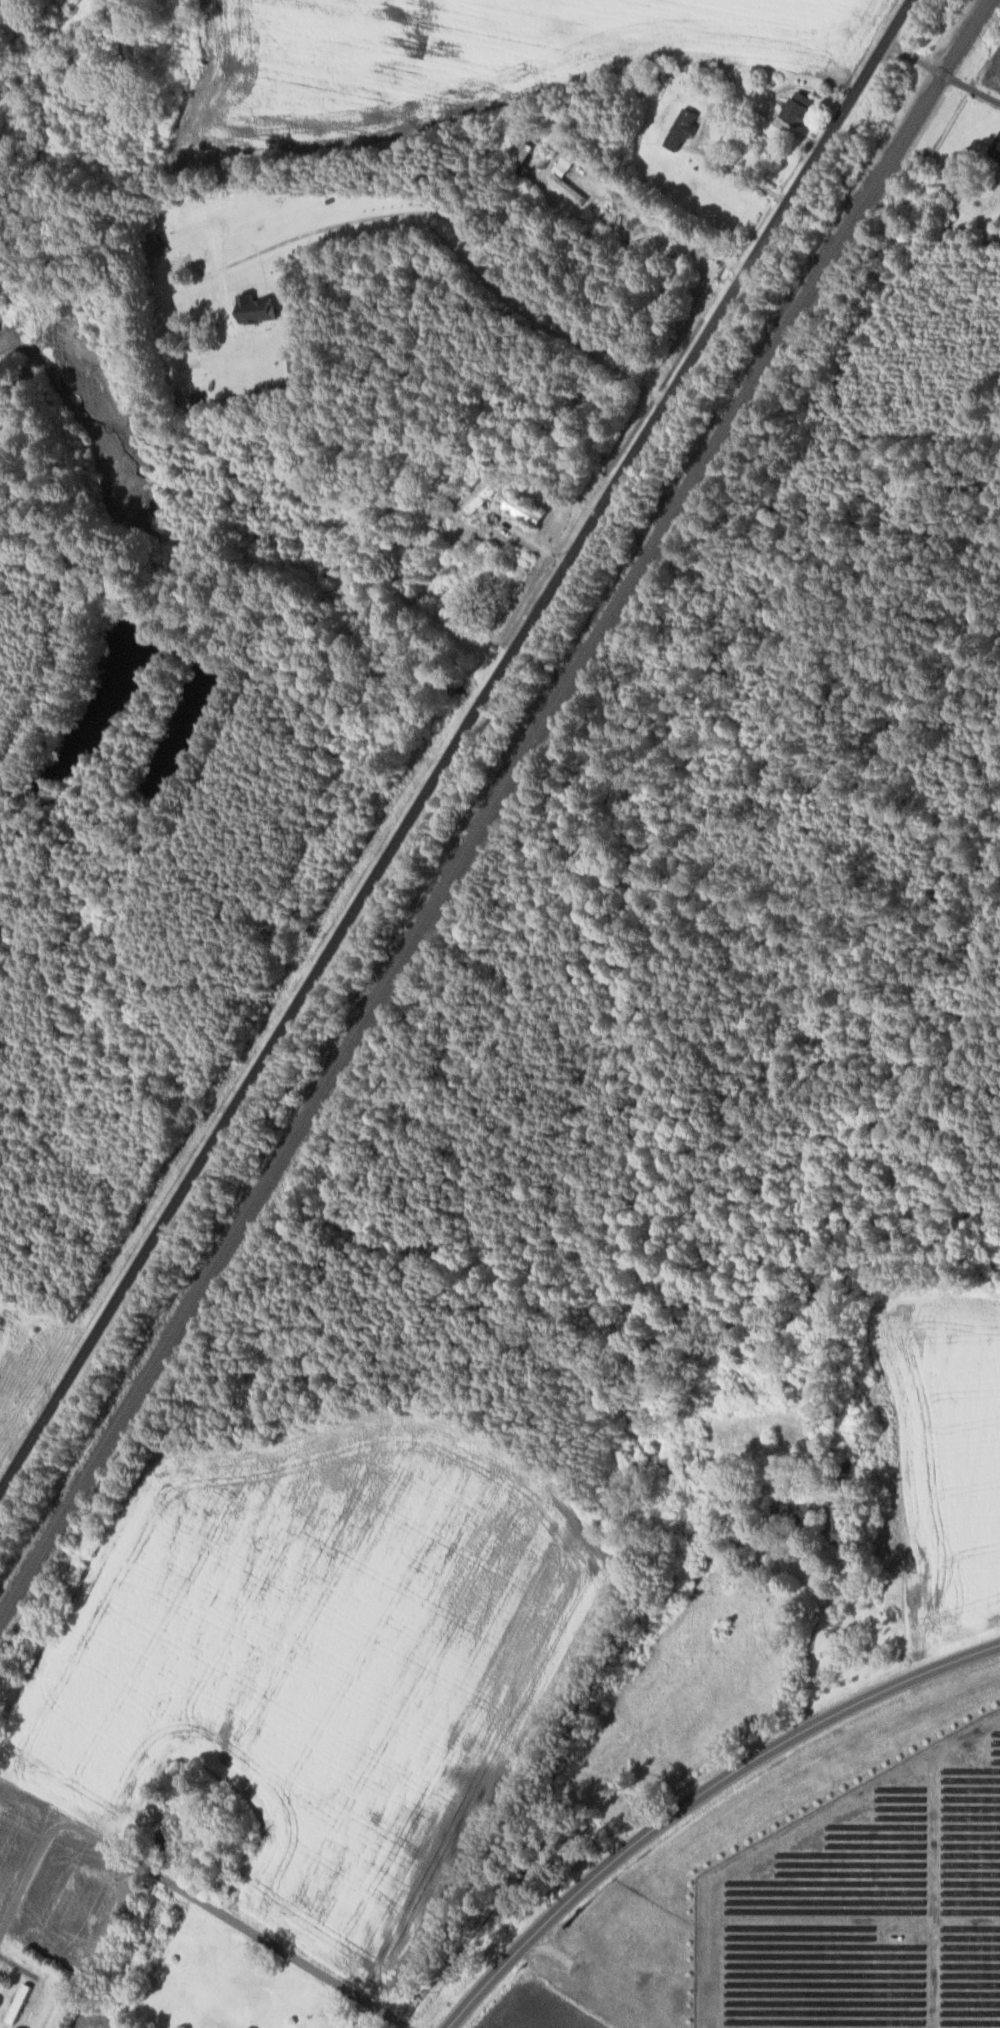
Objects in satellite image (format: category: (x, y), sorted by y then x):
road: (941, 72)
building: (801, 106)
building: (685, 125)
building: (557, 177)
road: (659, 221)
road: (454, 222)
building: (258, 307)
building: (480, 495)
building: (523, 508)
road: (448, 739)
railway: (493, 809)
building: (842, 1527)
crop: (317, 1664)
road: (696, 1793)
building: (168, 1832)
road: (27, 1875)
crop: (73, 1901)
solar farm: (866, 1903)
road: (235, 1921)
road: (18, 1965)
building: (19, 2002)
crop: (537, 2010)
crop: (94, 2020)

